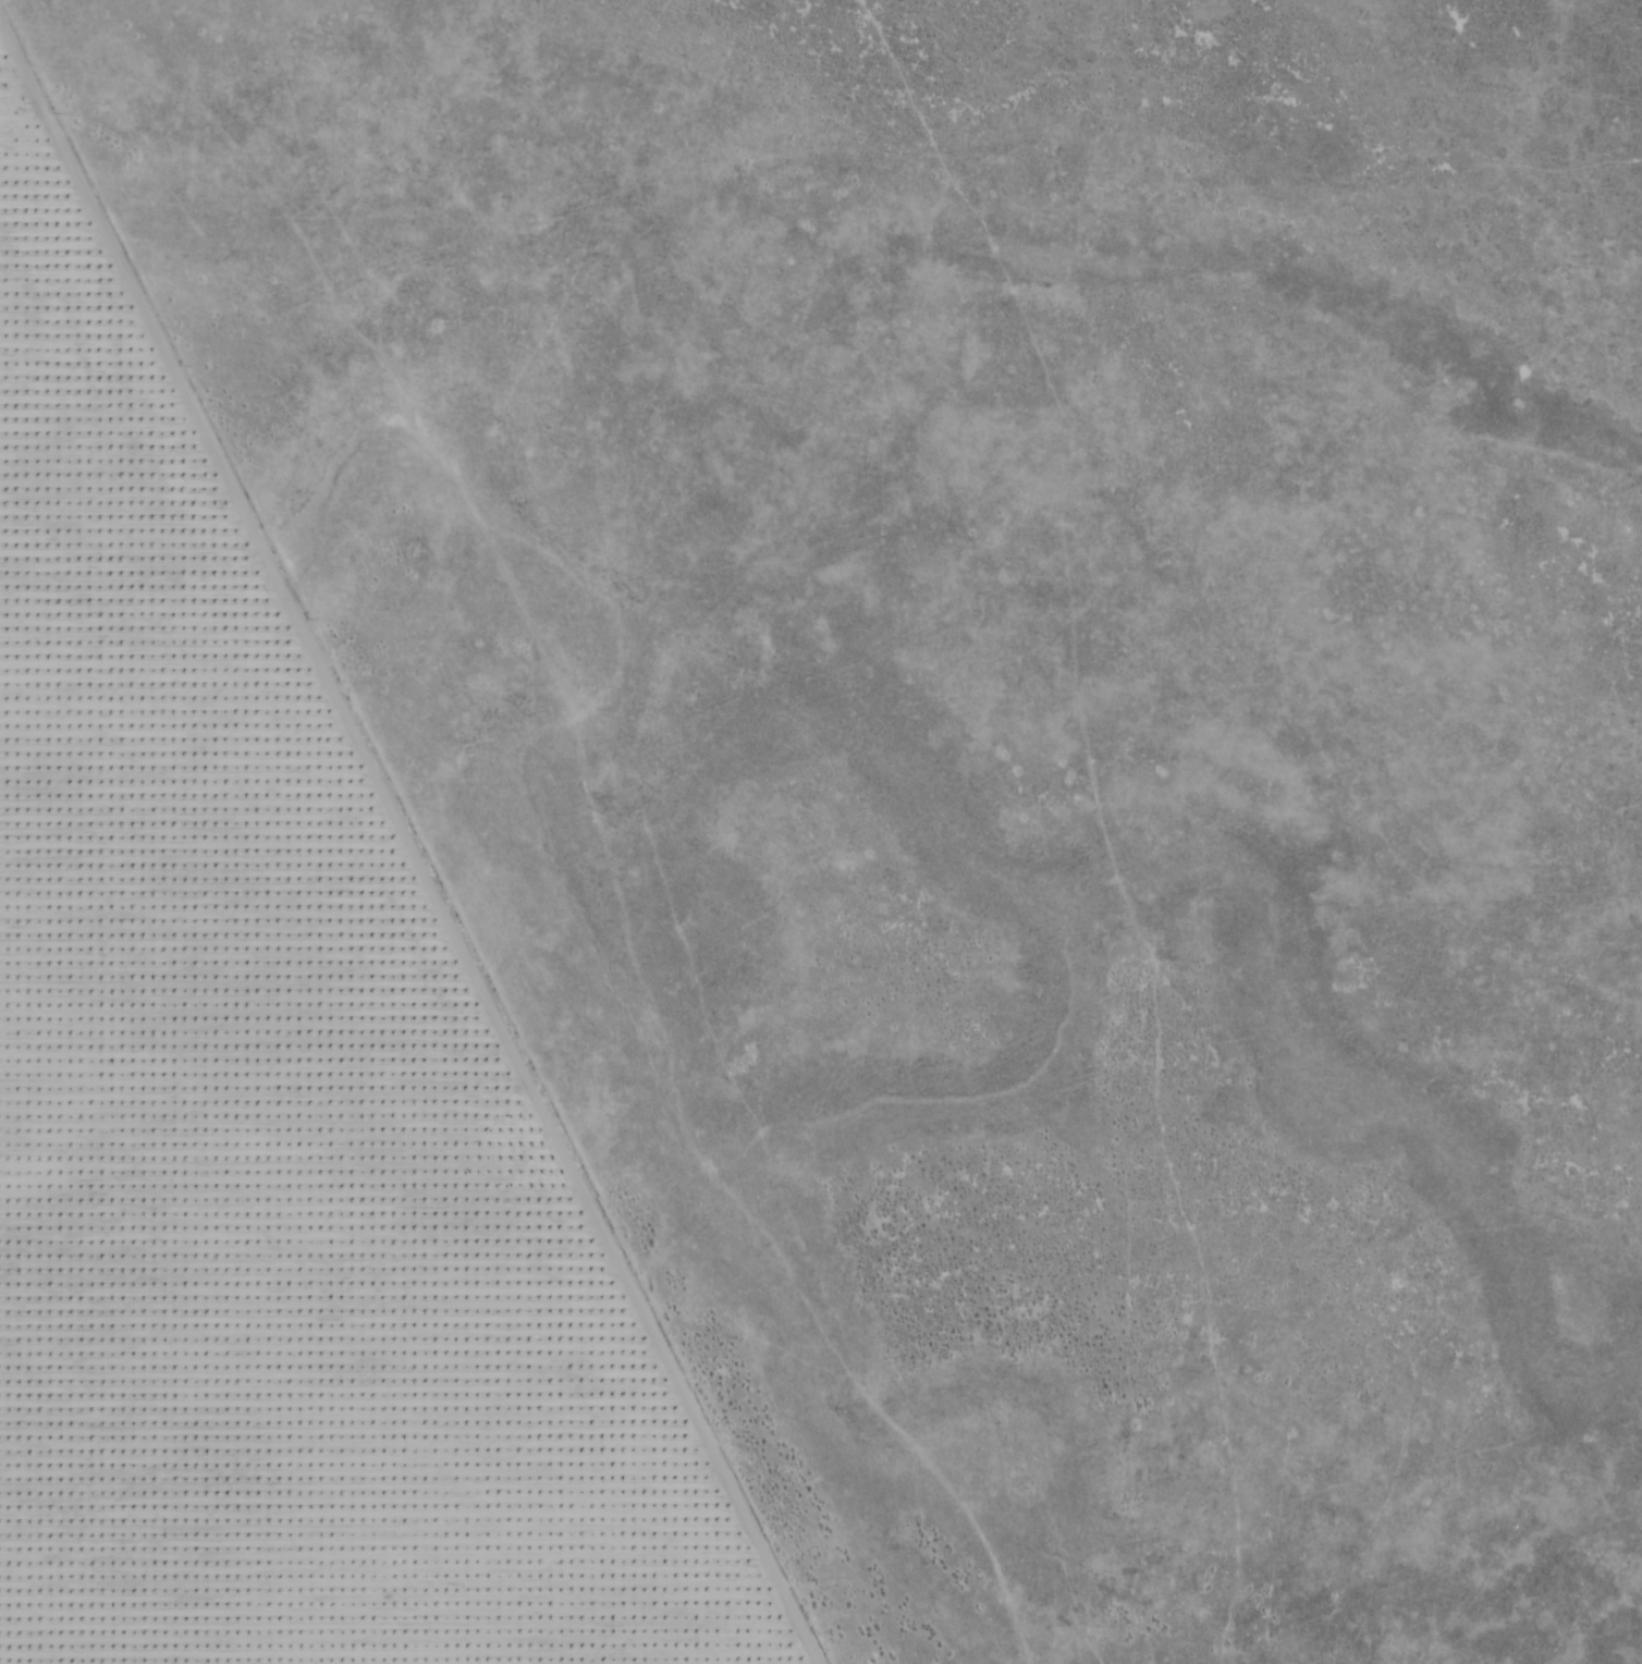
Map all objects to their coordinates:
crop: (275, 1121)

